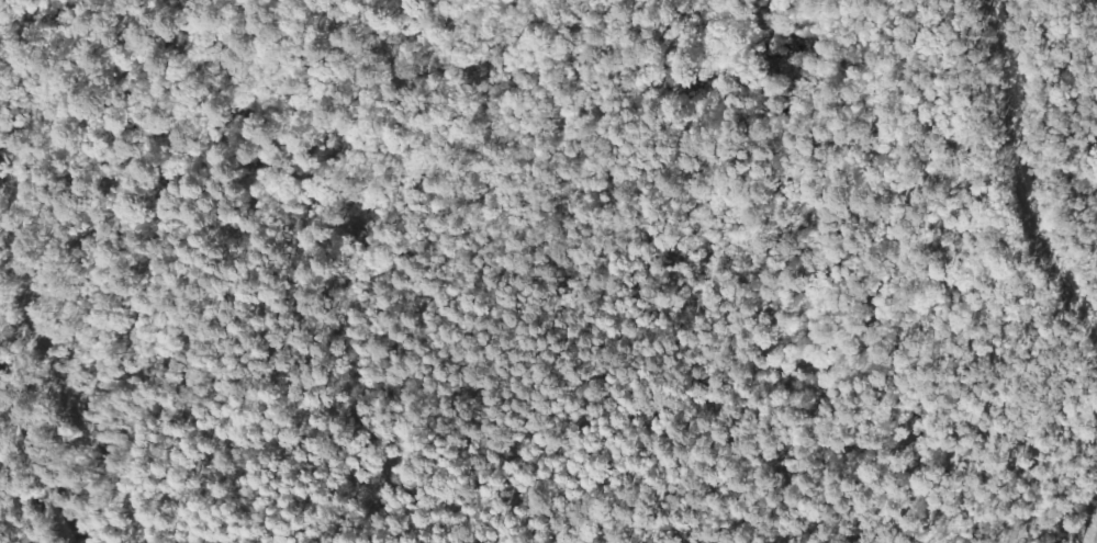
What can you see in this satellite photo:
road: (1021, 167)
road: (33, 456)

